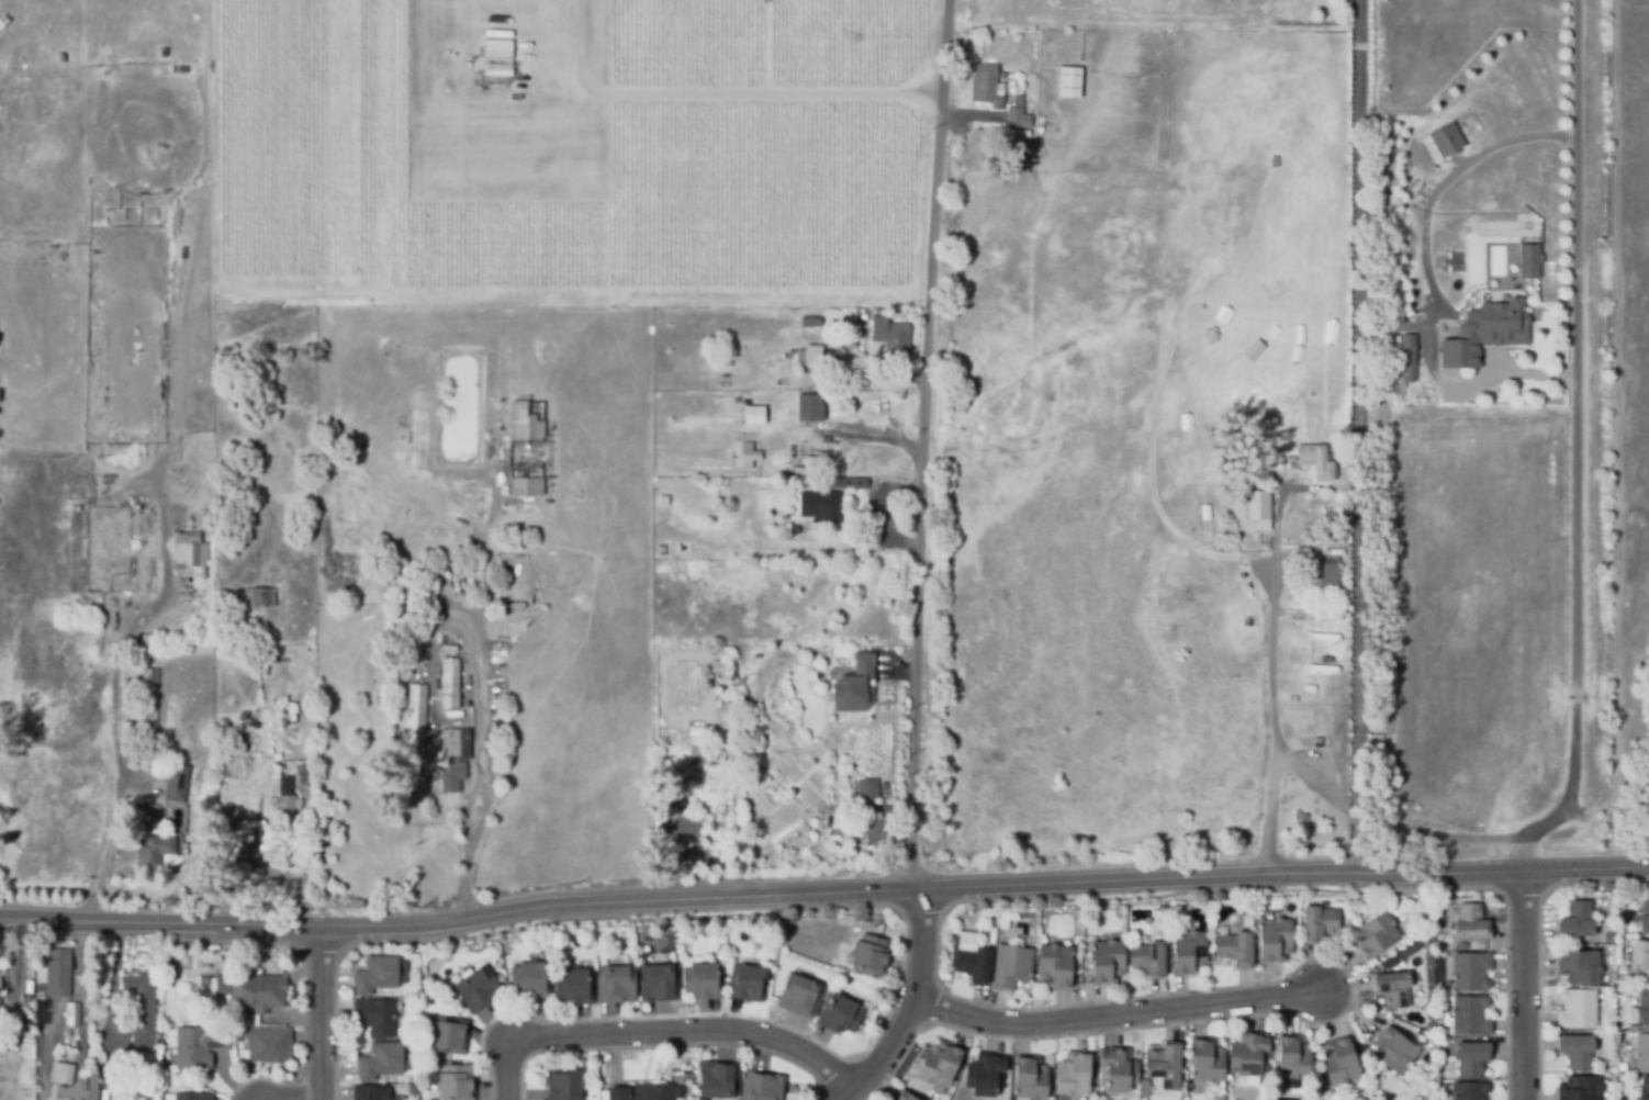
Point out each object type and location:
building: (834, 1)
building: (734, 10)
road: (893, 32)
building: (162, 48)
building: (999, 76)
building: (1067, 83)
building: (984, 86)
road: (723, 93)
building: (1016, 115)
building: (1445, 138)
building: (1276, 159)
building: (1346, 168)
building: (34, 249)
building: (1526, 260)
road: (1427, 274)
building: (227, 294)
building: (809, 322)
building: (1481, 332)
building: (887, 337)
building: (860, 343)
building: (848, 344)
building: (812, 355)
building: (1406, 358)
building: (812, 407)
building: (750, 415)
road: (1357, 433)
road: (926, 445)
building: (528, 446)
building: (1526, 452)
building: (745, 456)
building: (1292, 457)
building: (809, 459)
building: (1321, 459)
building: (807, 467)
building: (854, 481)
building: (664, 497)
building: (828, 505)
road: (162, 506)
building: (1252, 512)
building: (209, 513)
road: (1578, 515)
building: (1293, 539)
building: (199, 563)
building: (1324, 573)
building: (405, 588)
building: (262, 596)
building: (405, 598)
building: (403, 613)
building: (182, 631)
building: (207, 631)
building: (759, 656)
road: (900, 670)
building: (452, 682)
building: (857, 684)
road: (1270, 685)
building: (727, 694)
building: (150, 700)
building: (417, 715)
building: (254, 722)
building: (306, 723)
building: (759, 728)
building: (130, 732)
building: (727, 751)
building: (702, 756)
building: (715, 756)
building: (453, 763)
building: (258, 768)
road: (489, 774)
building: (180, 782)
road: (1315, 783)
building: (886, 785)
building: (868, 787)
building: (891, 793)
building: (288, 800)
building: (141, 805)
building: (198, 820)
building: (687, 828)
building: (878, 829)
building: (257, 840)
building: (156, 849)
building: (179, 885)
road: (823, 895)
building: (1146, 913)
building: (1645, 918)
building: (1577, 920)
building: (1470, 922)
building: (1320, 923)
building: (1377, 935)
building: (1608, 936)
building: (1276, 940)
building: (1236, 950)
building: (1190, 952)
building: (870, 956)
building: (1640, 956)
building: (1149, 958)
building: (1108, 962)
building: (1391, 963)
building: (974, 965)
building: (1056, 965)
building: (1012, 966)
building: (1580, 966)
building: (56, 972)
building: (1471, 972)
building: (377, 975)
building: (531, 979)
building: (703, 980)
building: (657, 983)
building: (616, 984)
building: (749, 984)
road: (1526, 986)
building: (574, 987)
building: (1393, 988)
building: (26, 989)
building: (479, 989)
building: (255, 990)
building: (800, 995)
road: (920, 1007)
building: (1578, 1008)
building: (1642, 1008)
building: (143, 1012)
building: (71, 1013)
road: (322, 1014)
building: (840, 1014)
building: (1471, 1015)
building: (375, 1017)
road: (1123, 1018)
road: (693, 1031)
building: (451, 1035)
building: (269, 1044)
building: (199, 1046)
building: (1395, 1051)
building: (1577, 1052)
building: (1642, 1053)
building: (1249, 1054)
building: (1293, 1058)
building: (1471, 1058)
building: (381, 1060)
building: (1339, 1060)
building: (1207, 1062)
building: (939, 1064)
building: (1165, 1066)
road: (509, 1068)
building: (1120, 1068)
building: (65, 1071)
building: (984, 1075)
building: (1074, 1075)
building: (1031, 1077)
building: (719, 1079)
building: (91, 1081)
building: (457, 1082)
building: (565, 1084)
building: (763, 1086)
building: (1580, 1088)
building: (1645, 1088)
building: (650, 1091)
building: (1470, 1091)
building: (372, 1092)
building: (904, 1096)
building: (194, 1097)

